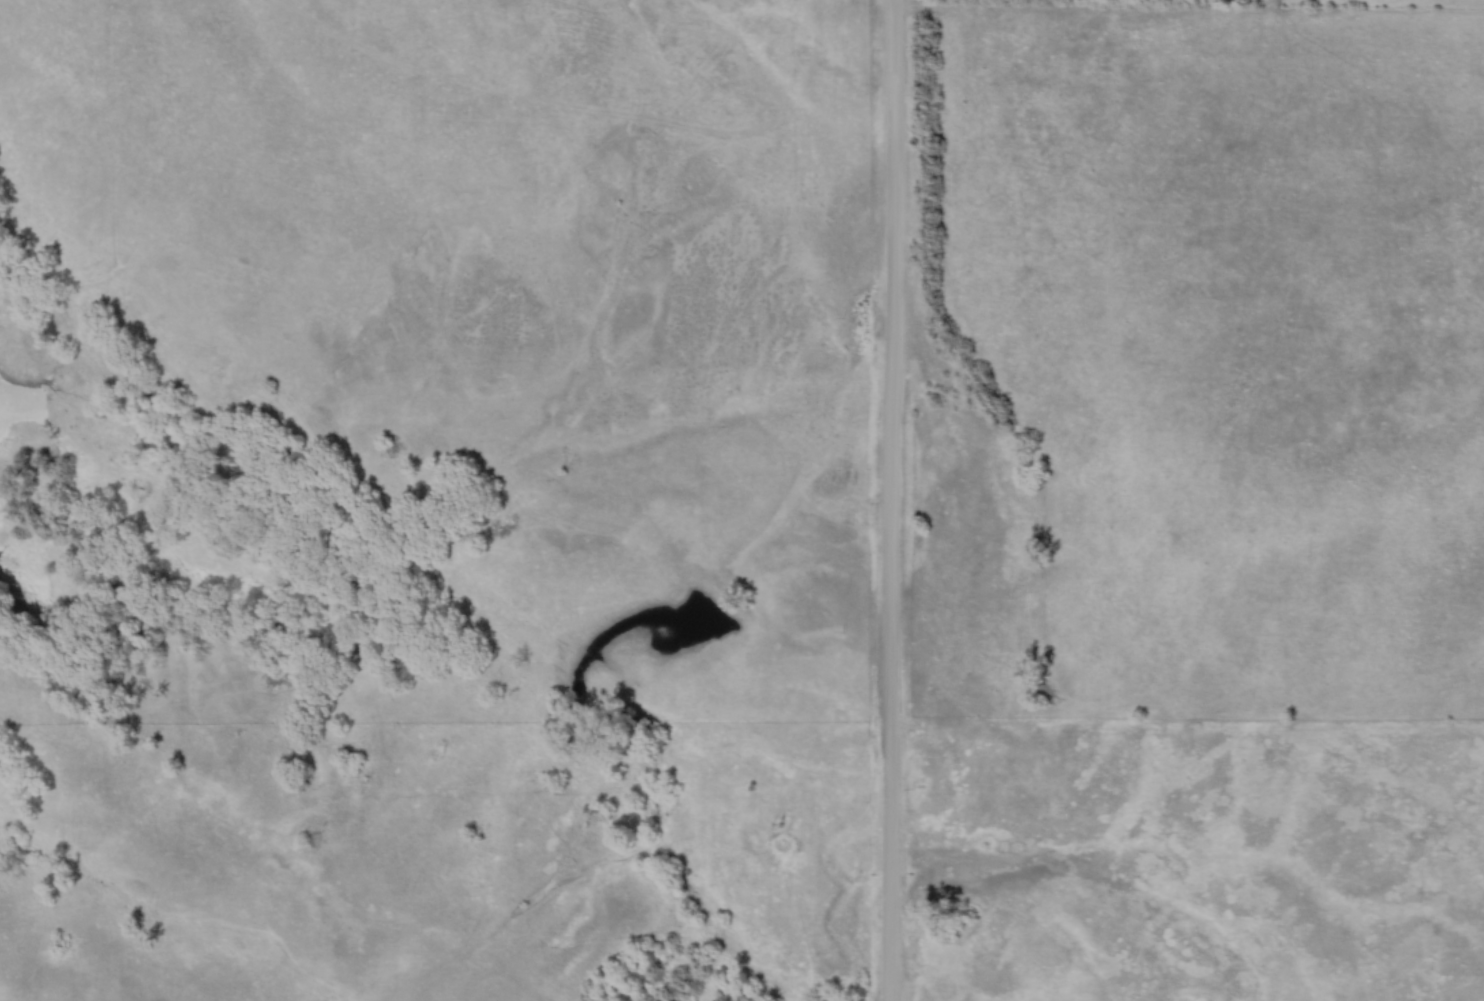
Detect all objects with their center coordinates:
road: (896, 500)

